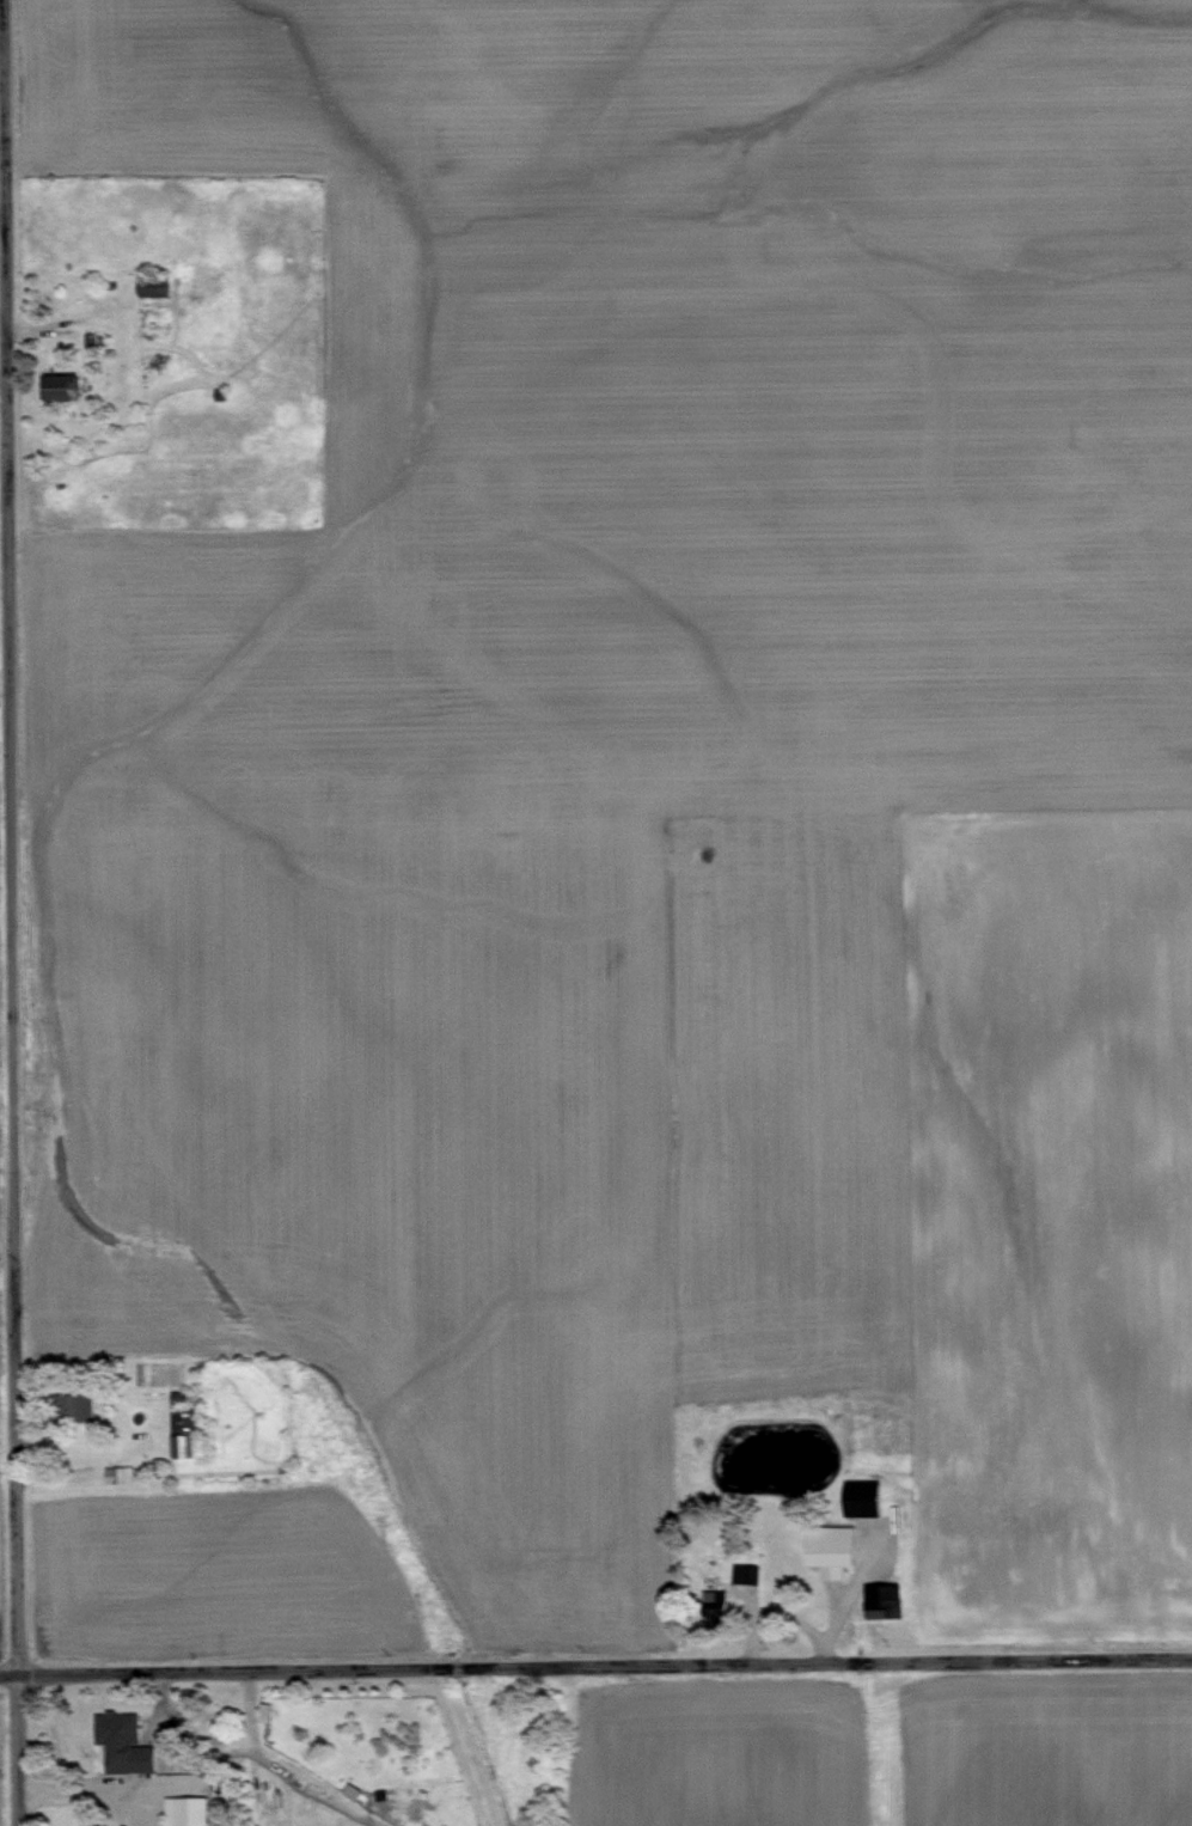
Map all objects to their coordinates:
building: (152, 286)
road: (6, 912)
building: (71, 1406)
building: (185, 1433)
building: (118, 1473)
building: (861, 1506)
building: (830, 1549)
building: (744, 1571)
road: (837, 1595)
building: (885, 1602)
building: (714, 1606)
road: (595, 1662)
building: (121, 1741)
building: (350, 1789)
road: (86, 1801)
building: (184, 1810)
building: (92, 1824)

